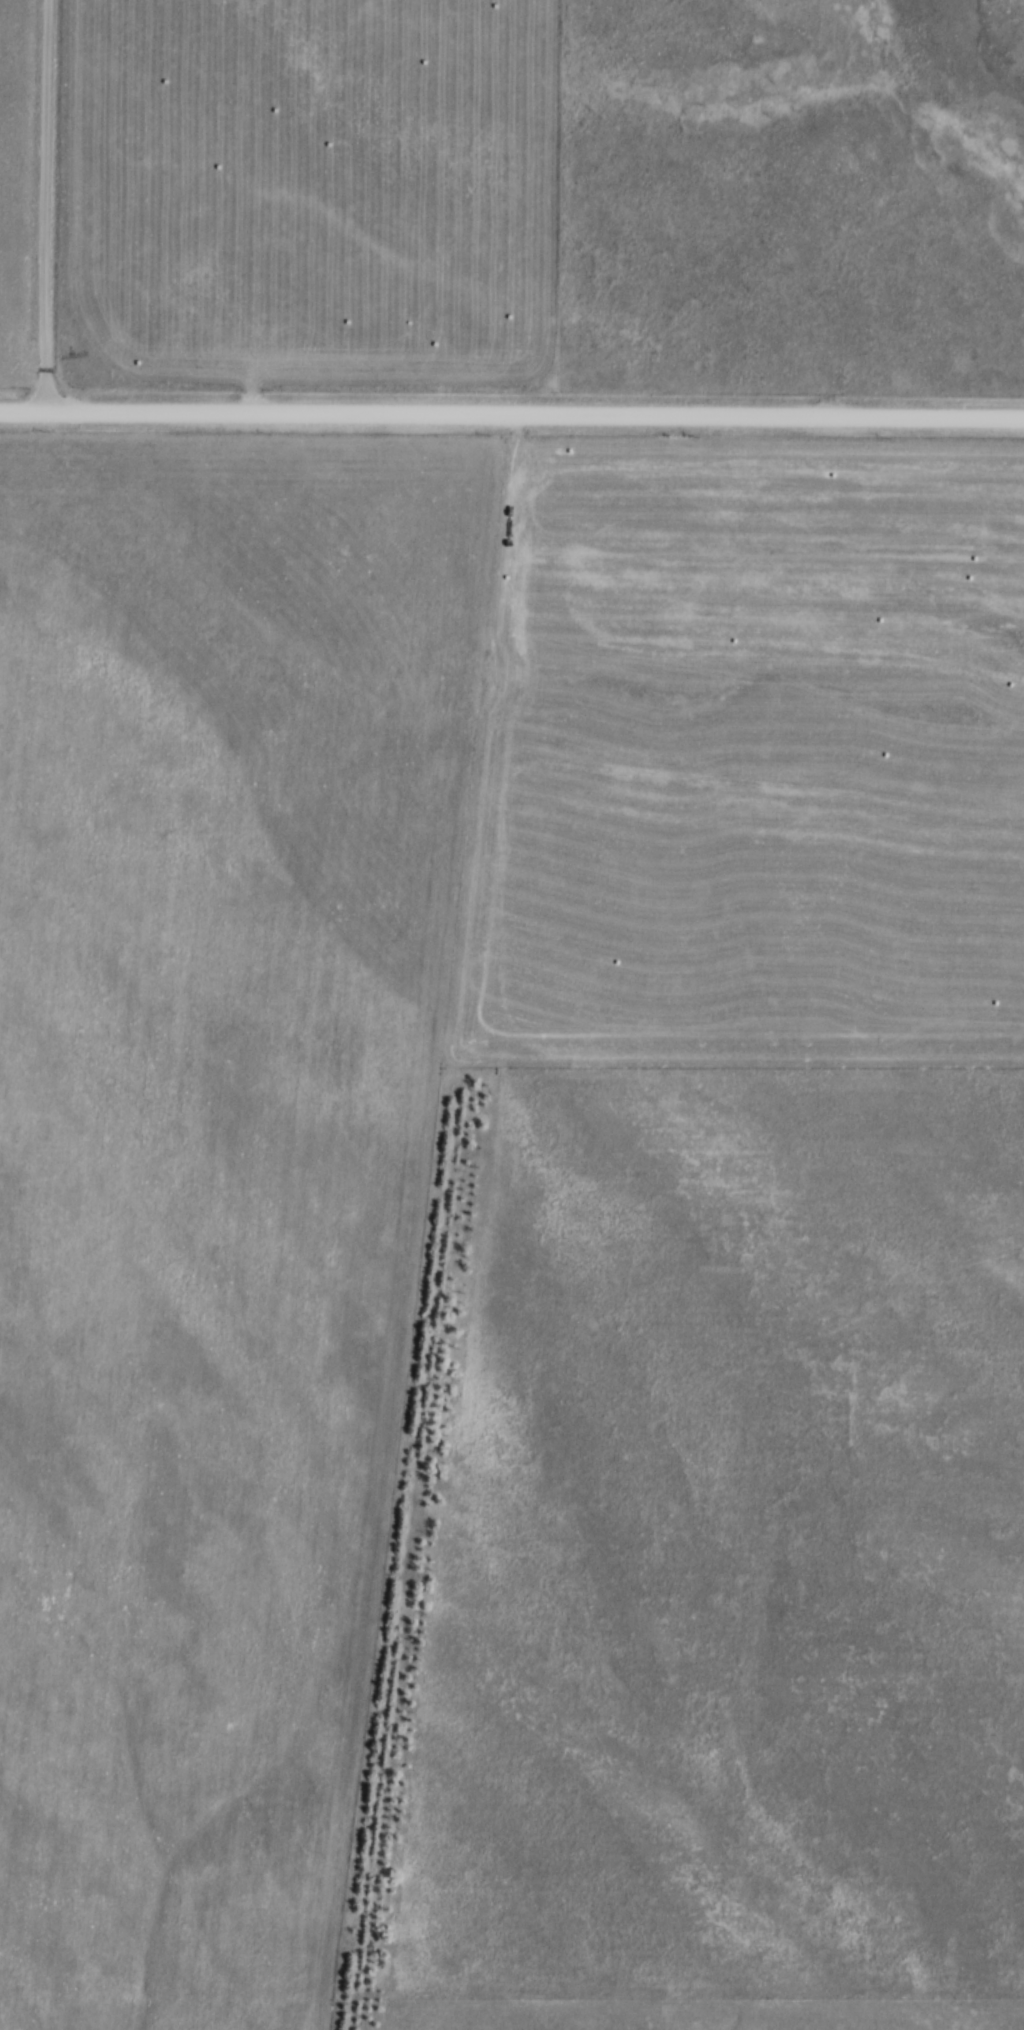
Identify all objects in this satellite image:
road: (47, 203)
road: (511, 413)

